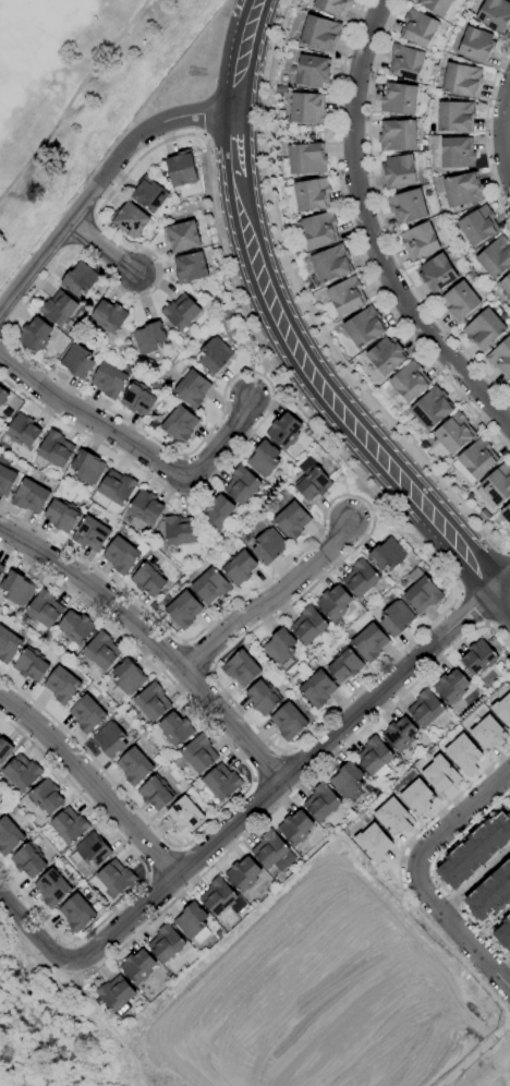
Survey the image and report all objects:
building: (436, 5)
building: (333, 7)
building: (495, 14)
building: (418, 28)
building: (320, 33)
building: (476, 45)
road: (243, 55)
building: (405, 62)
building: (313, 72)
building: (462, 80)
park: (74, 95)
road: (72, 99)
building: (399, 99)
building: (307, 108)
building: (456, 117)
road: (507, 126)
road: (503, 129)
road: (486, 133)
building: (398, 136)
road: (234, 145)
building: (458, 153)
building: (307, 159)
building: (181, 169)
building: (399, 171)
road: (99, 183)
building: (463, 190)
building: (149, 194)
building: (312, 194)
building: (408, 206)
road: (381, 218)
building: (131, 220)
building: (478, 226)
building: (319, 230)
road: (369, 233)
building: (182, 237)
building: (420, 241)
road: (104, 246)
road: (357, 248)
building: (496, 257)
building: (331, 264)
building: (191, 268)
building: (437, 273)
building: (80, 279)
building: (506, 285)
building: (347, 295)
building: (459, 302)
road: (306, 309)
building: (60, 311)
building: (181, 312)
building: (110, 317)
building: (364, 327)
building: (484, 329)
road: (253, 334)
building: (35, 335)
building: (149, 338)
building: (215, 355)
building: (386, 355)
building: (500, 358)
building: (78, 361)
building: (109, 381)
building: (410, 382)
building: (509, 385)
building: (192, 388)
building: (3, 396)
building: (138, 399)
road: (333, 402)
building: (430, 409)
building: (180, 424)
building: (23, 431)
building: (284, 431)
building: (454, 434)
road: (134, 444)
building: (54, 448)
building: (265, 459)
building: (476, 460)
building: (87, 468)
building: (5, 479)
building: (312, 480)
building: (242, 485)
building: (496, 486)
building: (117, 491)
building: (31, 496)
building: (146, 507)
building: (217, 511)
building: (507, 512)
building: (62, 515)
building: (292, 520)
building: (180, 530)
building: (92, 534)
building: (268, 546)
road: (508, 551)
building: (121, 555)
building: (387, 555)
building: (240, 568)
building: (1, 569)
road: (481, 572)
building: (361, 578)
building: (148, 579)
road: (503, 583)
building: (209, 584)
building: (16, 589)
building: (423, 594)
road: (503, 595)
road: (269, 600)
building: (333, 603)
building: (45, 608)
building: (181, 608)
road: (472, 610)
road: (498, 615)
building: (397, 618)
building: (308, 626)
building: (76, 628)
road: (153, 640)
building: (371, 642)
building: (8, 645)
building: (280, 647)
building: (101, 651)
building: (478, 657)
building: (31, 665)
building: (345, 666)
building: (241, 668)
building: (126, 679)
building: (62, 686)
building: (451, 687)
building: (317, 689)
building: (263, 698)
building: (153, 702)
building: (425, 709)
building: (502, 710)
building: (87, 714)
building: (289, 722)
building: (175, 729)
building: (488, 733)
building: (400, 735)
building: (110, 740)
building: (4, 750)
road: (283, 752)
building: (463, 753)
building: (199, 755)
building: (374, 758)
road: (269, 765)
building: (135, 767)
building: (22, 772)
building: (439, 774)
road: (284, 777)
road: (254, 779)
road: (251, 780)
building: (348, 781)
building: (221, 782)
road: (90, 783)
road: (295, 789)
building: (156, 793)
building: (47, 797)
building: (416, 797)
building: (509, 800)
building: (321, 803)
road: (506, 805)
building: (185, 816)
building: (392, 817)
road: (458, 818)
building: (69, 826)
building: (295, 828)
building: (9, 836)
building: (373, 842)
road: (178, 848)
building: (474, 849)
building: (92, 850)
building: (272, 852)
building: (28, 860)
road: (163, 864)
road: (144, 869)
building: (243, 874)
road: (433, 874)
road: (147, 876)
building: (116, 878)
road: (474, 881)
building: (52, 889)
road: (401, 890)
building: (490, 893)
building: (217, 896)
building: (76, 913)
road: (496, 920)
building: (192, 924)
road: (459, 932)
road: (32, 933)
building: (503, 933)
building: (166, 943)
road: (70, 944)
road: (69, 954)
road: (101, 966)
building: (137, 967)
road: (503, 968)
building: (116, 995)
road: (507, 1018)
road: (463, 1062)
road: (487, 1064)
road: (500, 1077)
road: (472, 1084)

